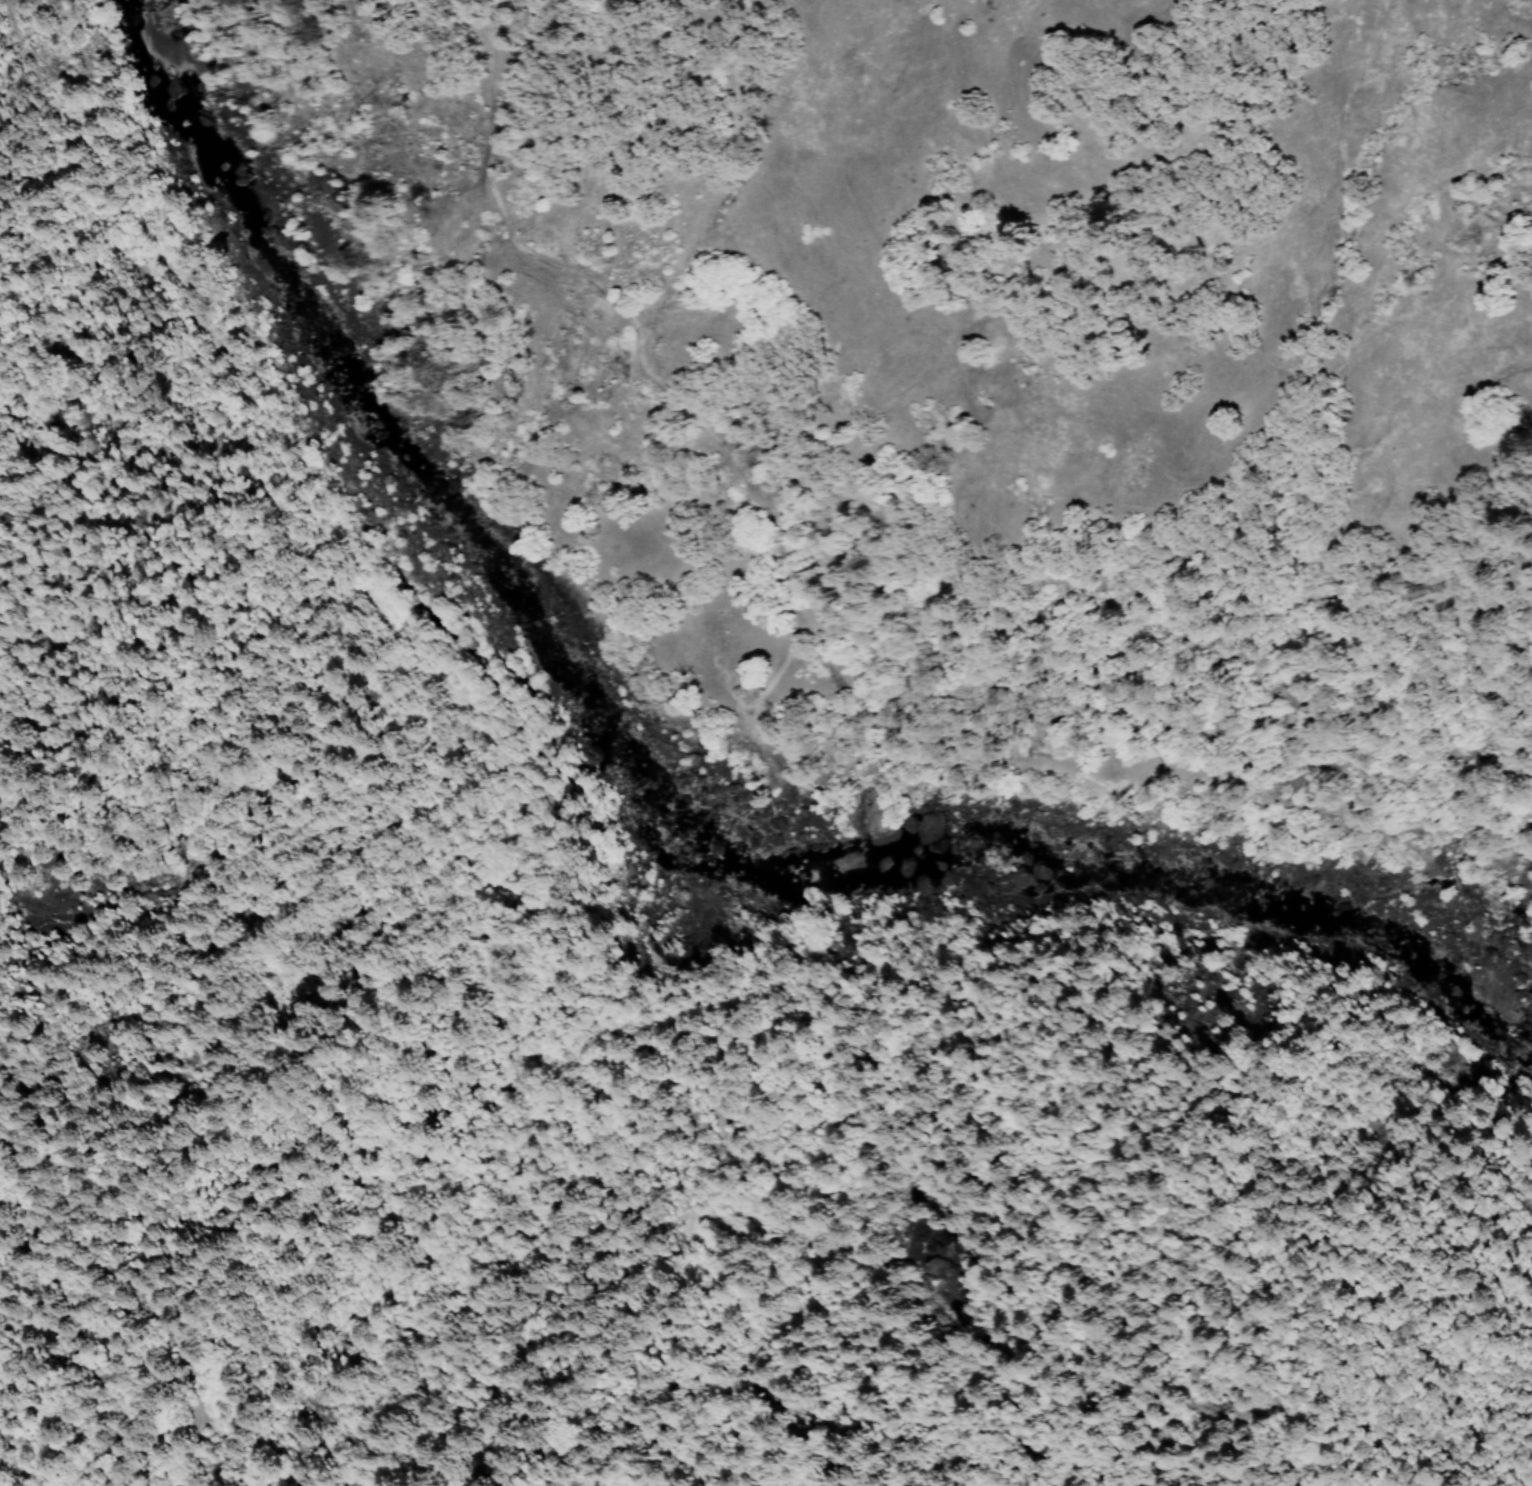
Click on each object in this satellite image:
river: (402, 447)
river: (1142, 886)

